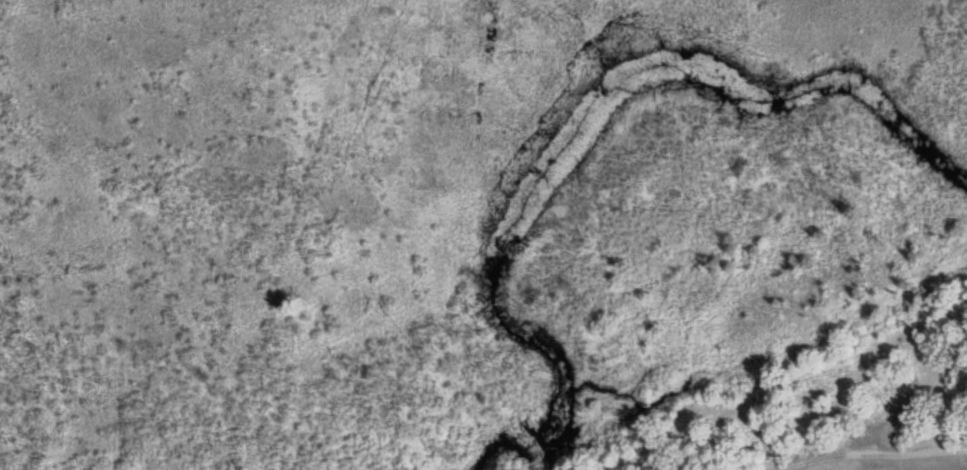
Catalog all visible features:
road: (869, 455)

